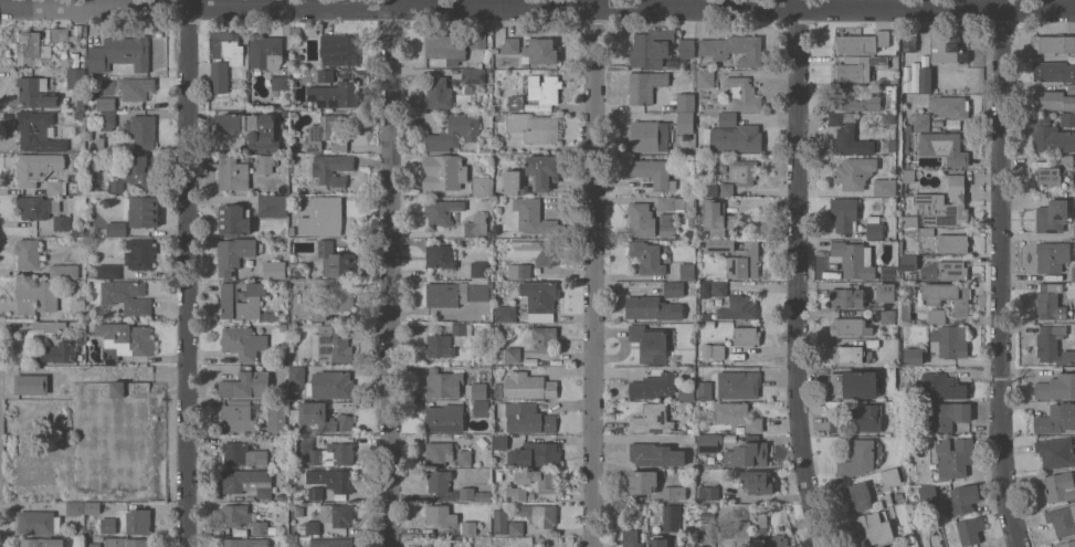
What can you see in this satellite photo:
road: (537, 4)
building: (296, 32)
building: (56, 34)
building: (861, 42)
building: (909, 42)
building: (1054, 43)
building: (229, 45)
building: (510, 45)
building: (453, 46)
building: (31, 48)
building: (686, 48)
building: (337, 49)
building: (654, 49)
building: (734, 49)
building: (496, 50)
building: (948, 50)
building: (266, 51)
building: (539, 51)
building: (120, 53)
building: (63, 55)
building: (693, 64)
building: (526, 65)
building: (858, 67)
building: (1053, 71)
building: (325, 75)
building: (473, 76)
building: (219, 77)
building: (75, 78)
building: (705, 78)
building: (925, 80)
building: (281, 83)
building: (645, 85)
building: (135, 87)
building: (542, 87)
building: (1071, 88)
building: (35, 93)
building: (436, 93)
building: (742, 93)
building: (335, 94)
building: (1053, 99)
building: (853, 101)
building: (685, 102)
building: (105, 103)
building: (516, 103)
building: (80, 105)
building: (286, 107)
building: (950, 108)
building: (286, 114)
building: (78, 115)
building: (707, 117)
building: (1067, 118)
building: (728, 119)
building: (107, 120)
building: (921, 120)
building: (685, 122)
building: (907, 126)
building: (534, 127)
building: (253, 129)
building: (38, 130)
building: (141, 130)
building: (326, 133)
building: (453, 133)
building: (89, 134)
building: (649, 135)
building: (849, 135)
building: (1050, 136)
building: (733, 138)
building: (99, 141)
building: (892, 145)
building: (944, 147)
building: (1065, 158)
building: (266, 162)
building: (94, 167)
building: (38, 168)
building: (331, 168)
building: (446, 170)
building: (542, 170)
building: (139, 171)
building: (744, 171)
building: (653, 172)
building: (854, 172)
building: (232, 173)
building: (1048, 175)
building: (908, 176)
building: (513, 182)
building: (116, 186)
building: (482, 186)
building: (56, 187)
building: (885, 187)
building: (80, 188)
building: (726, 189)
building: (671, 203)
building: (689, 203)
building: (945, 203)
building: (272, 206)
building: (38, 207)
building: (144, 211)
building: (442, 211)
building: (844, 213)
building: (1052, 215)
building: (323, 217)
building: (533, 218)
building: (718, 218)
building: (641, 219)
building: (665, 219)
building: (234, 220)
building: (909, 221)
building: (62, 222)
building: (477, 225)
building: (874, 227)
building: (116, 229)
building: (78, 231)
building: (667, 231)
building: (927, 231)
building: (1074, 231)
building: (499, 242)
building: (953, 242)
building: (719, 245)
building: (900, 246)
building: (546, 253)
building: (30, 254)
building: (139, 254)
building: (233, 254)
building: (1052, 255)
building: (440, 256)
building: (647, 256)
building: (335, 260)
building: (854, 260)
building: (745, 261)
building: (908, 262)
building: (274, 270)
building: (478, 270)
building: (945, 270)
building: (64, 271)
building: (108, 271)
building: (519, 271)
building: (687, 271)
road: (186, 273)
road: (390, 273)
road: (594, 273)
building: (1073, 273)
road: (800, 274)
road: (1003, 274)
building: (674, 288)
building: (719, 288)
building: (704, 290)
building: (886, 292)
building: (454, 293)
building: (539, 295)
building: (36, 296)
building: (127, 296)
building: (342, 296)
building: (847, 296)
building: (947, 296)
building: (229, 298)
building: (1050, 301)
building: (81, 305)
building: (1074, 305)
building: (653, 308)
building: (737, 308)
building: (905, 312)
building: (318, 314)
building: (505, 314)
building: (706, 315)
building: (937, 315)
building: (888, 316)
building: (709, 324)
building: (850, 326)
building: (49, 327)
building: (462, 329)
building: (746, 335)
building: (129, 336)
building: (544, 338)
building: (949, 341)
building: (243, 343)
building: (650, 343)
building: (873, 343)
building: (330, 344)
building: (1052, 345)
building: (440, 346)
building: (706, 350)
building: (718, 351)
building: (59, 353)
building: (849, 354)
building: (110, 355)
building: (513, 355)
building: (913, 356)
building: (297, 375)
building: (32, 383)
building: (443, 383)
building: (739, 383)
building: (854, 383)
building: (246, 385)
building: (330, 385)
building: (528, 386)
building: (942, 386)
building: (658, 387)
building: (1056, 387)
building: (118, 389)
building: (475, 390)
building: (704, 390)
building: (481, 408)
building: (944, 414)
building: (737, 415)
building: (239, 418)
building: (277, 418)
building: (319, 418)
building: (445, 418)
building: (526, 418)
building: (652, 419)
building: (857, 419)
building: (1056, 419)
building: (916, 438)
building: (499, 442)
building: (709, 443)
building: (1055, 452)
building: (327, 453)
building: (439, 453)
building: (243, 454)
building: (535, 454)
building: (658, 454)
building: (747, 454)
building: (464, 456)
building: (861, 456)
building: (953, 456)
building: (890, 476)
building: (333, 478)
building: (539, 480)
building: (439, 481)
building: (643, 481)
building: (753, 481)
building: (247, 482)
building: (1058, 485)
building: (516, 492)
building: (708, 492)
building: (315, 493)
building: (674, 493)
building: (474, 494)
building: (899, 495)
building: (928, 495)
building: (282, 496)
building: (857, 496)
building: (885, 498)
building: (962, 499)
building: (92, 507)
building: (75, 508)
building: (238, 514)
building: (337, 514)
building: (539, 514)
building: (441, 515)
building: (672, 517)
building: (1062, 519)
building: (138, 520)
building: (39, 522)
building: (500, 522)
building: (108, 526)
building: (263, 527)
building: (313, 527)
building: (468, 527)
building: (516, 527)
building: (760, 527)
building: (872, 528)
building: (81, 529)
building: (970, 529)
building: (88, 532)
building: (707, 533)
building: (744, 535)
building: (631, 538)
building: (657, 540)
building: (778, 540)
building: (126, 541)
building: (535, 541)
building: (42, 543)
building: (235, 543)
building: (331, 543)
building: (1065, 544)
building: (94, 545)
building: (689, 545)
building: (727, 546)
building: (884, 546)

